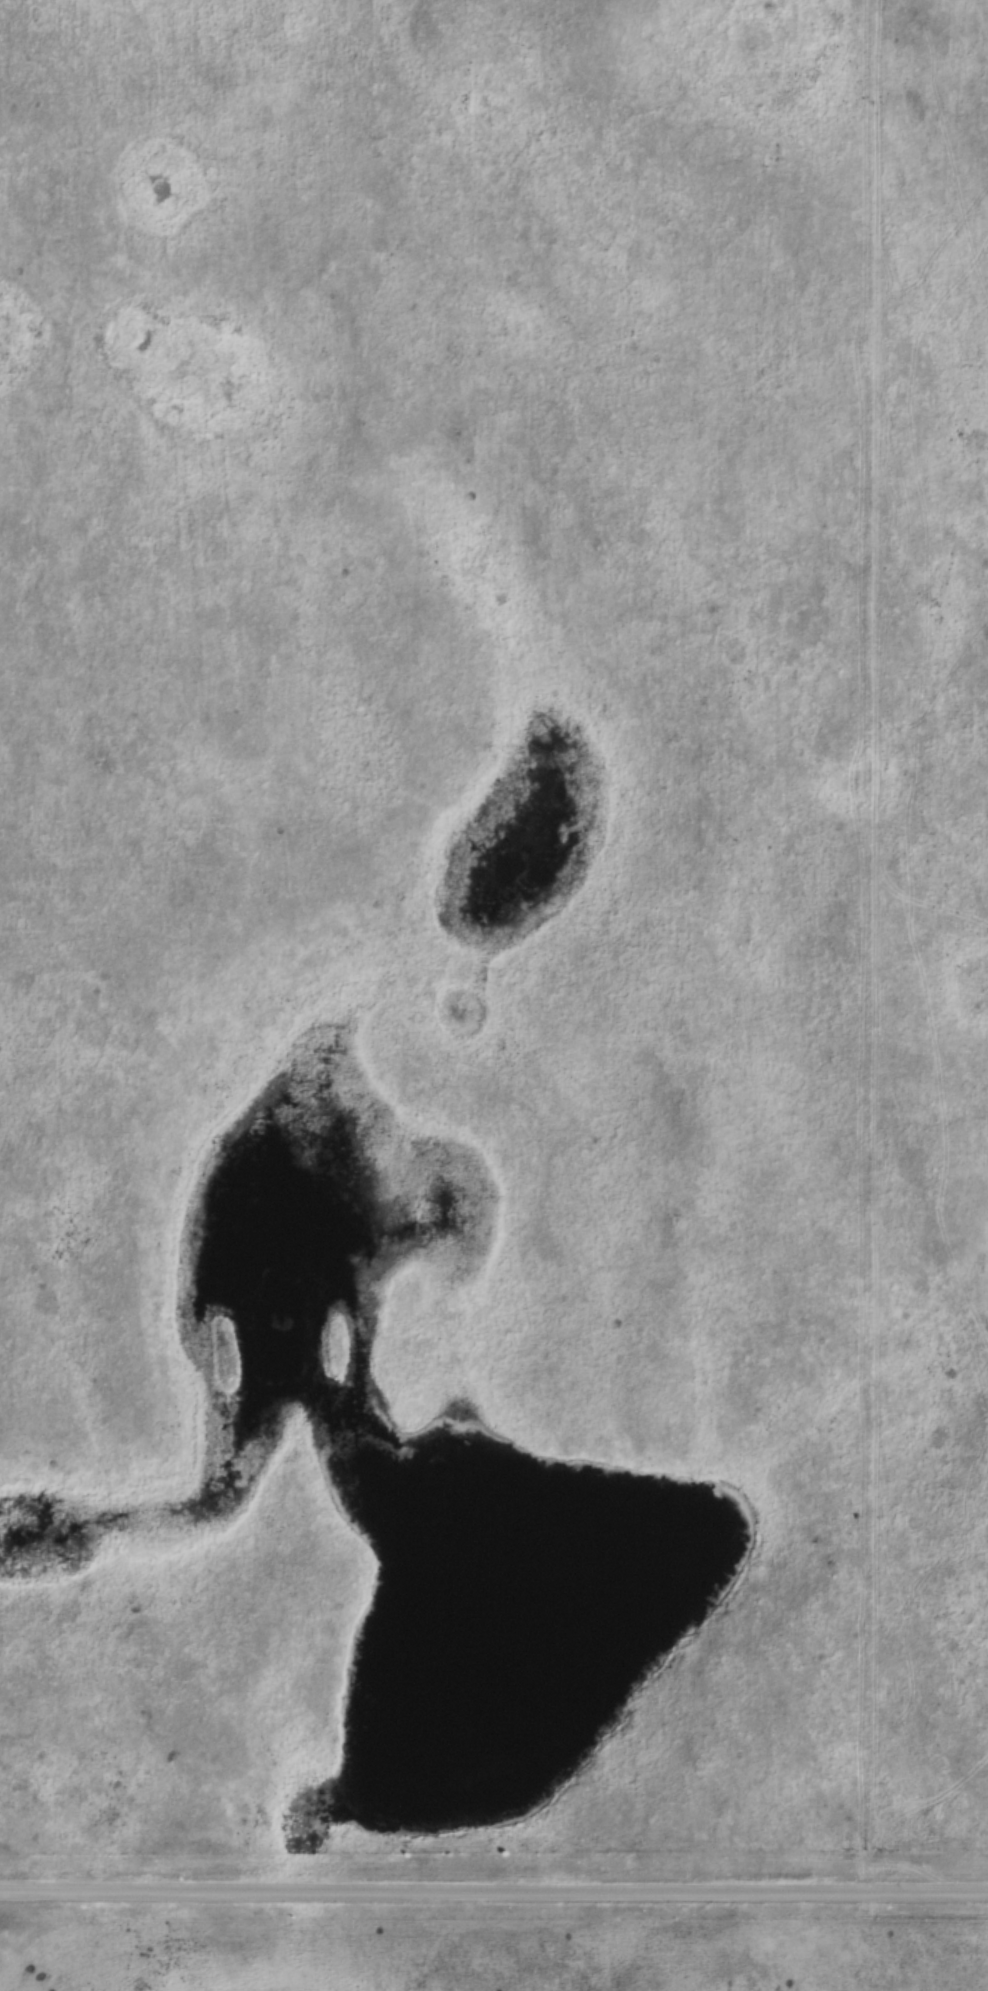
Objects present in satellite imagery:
road: (493, 1893)

